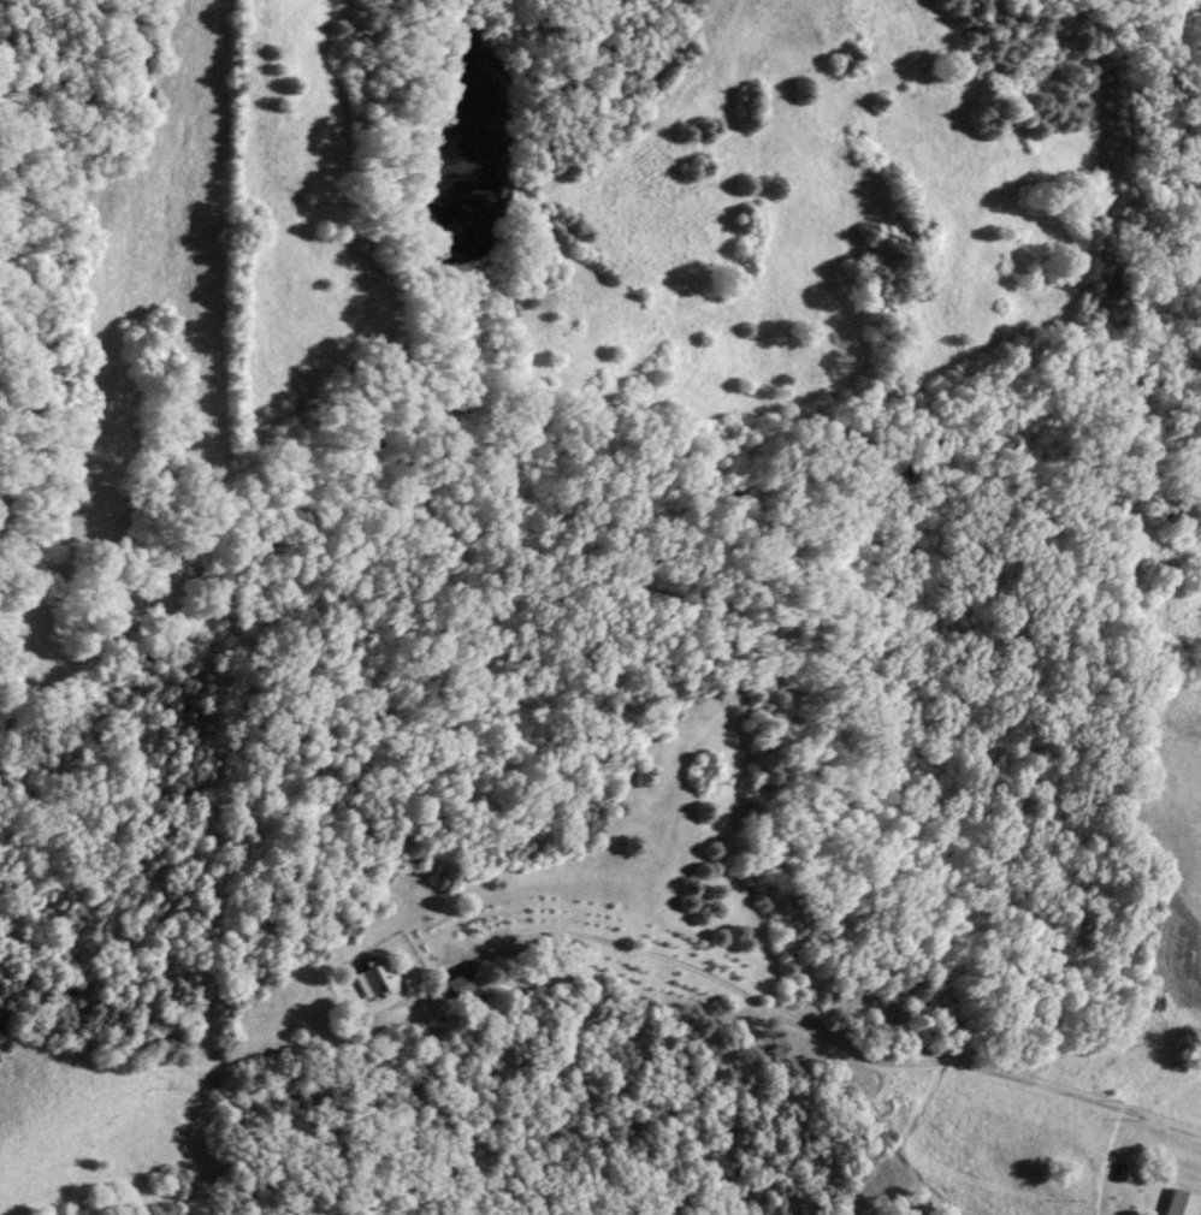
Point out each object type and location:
building: (375, 977)
building: (456, 986)
building: (1179, 1202)

